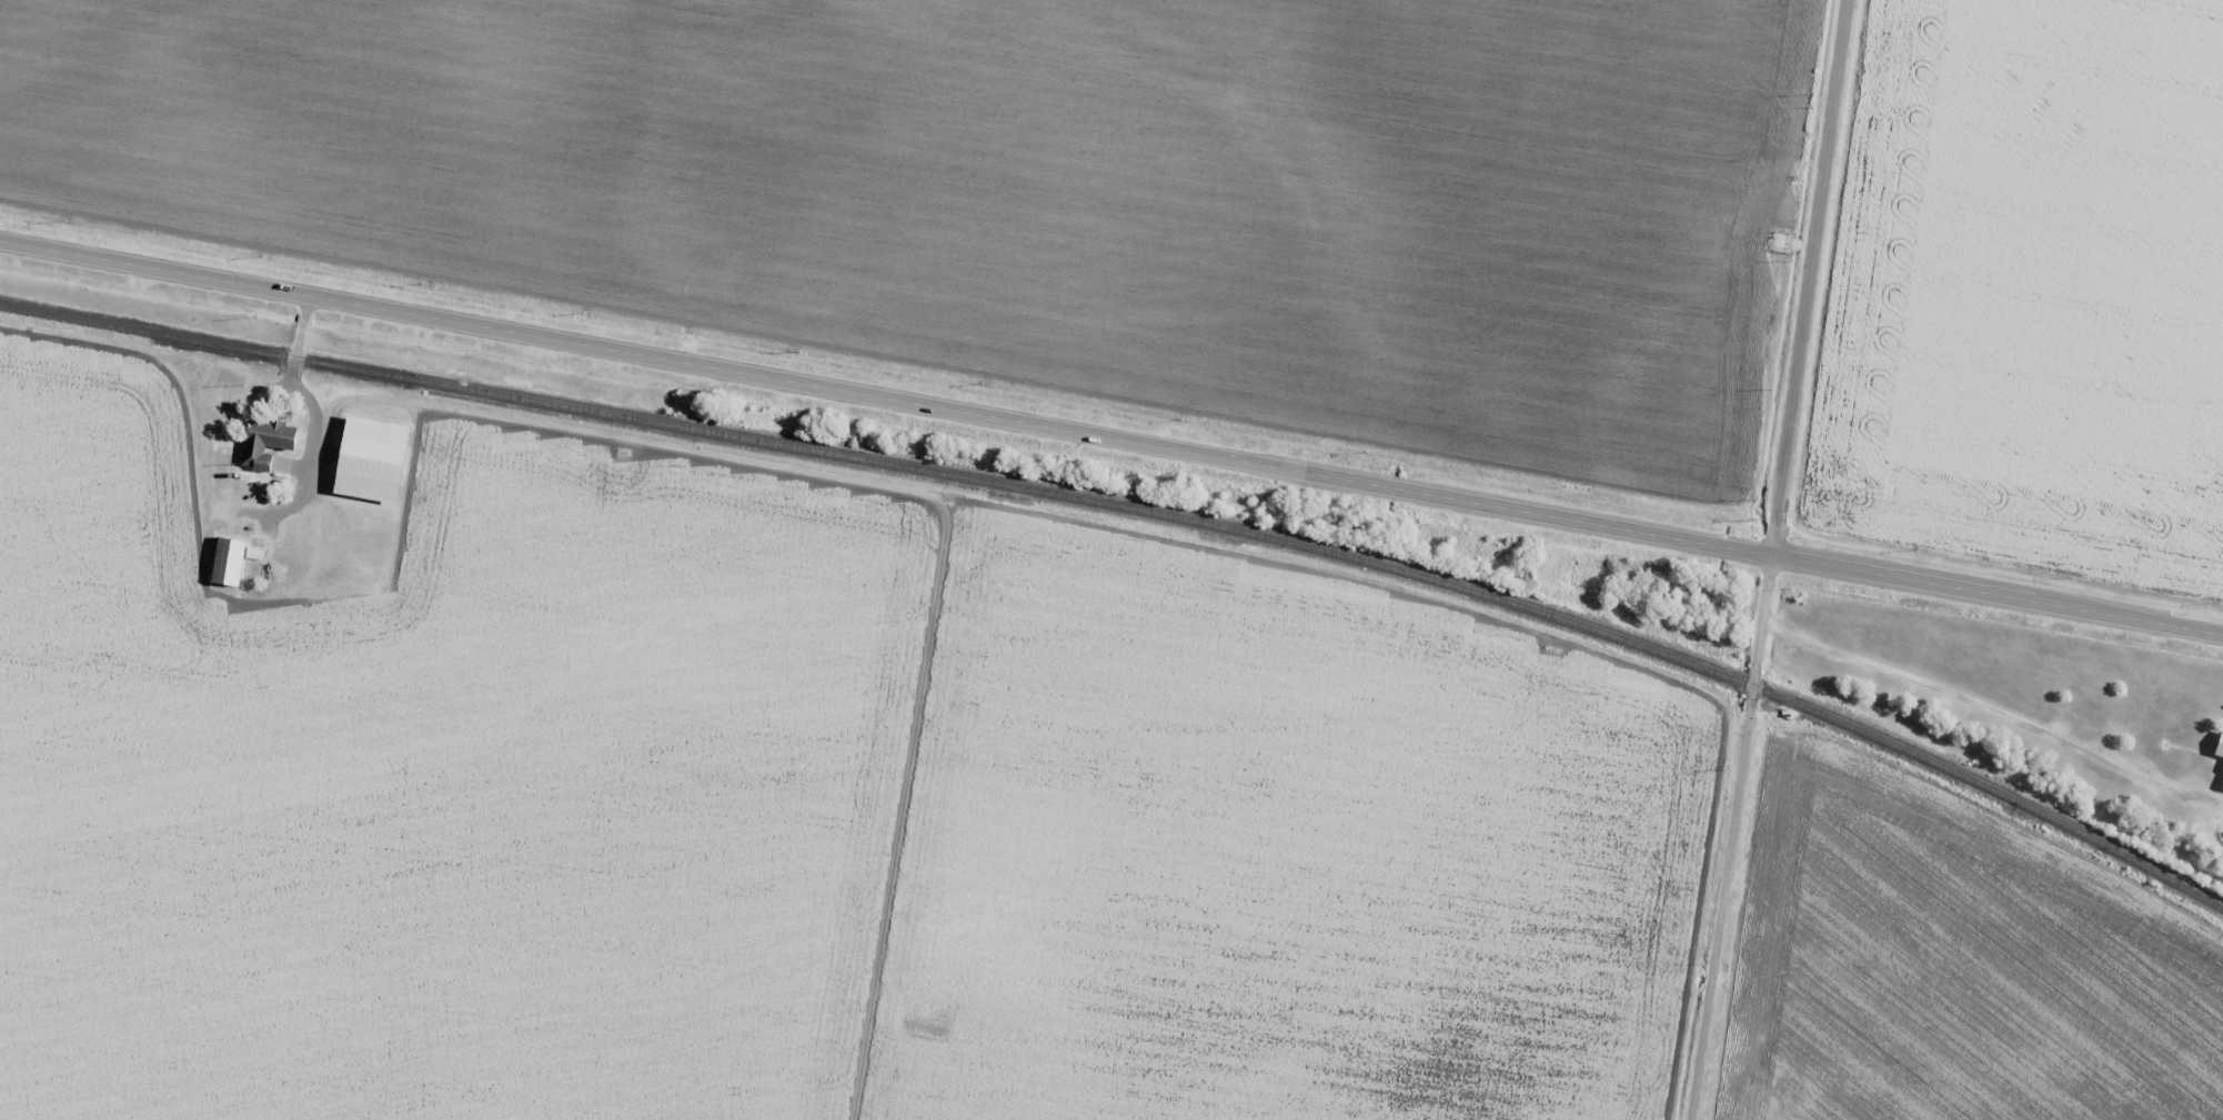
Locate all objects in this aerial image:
road: (1111, 431)
building: (264, 443)
building: (371, 451)
railway: (1139, 509)
building: (251, 553)
road: (1774, 561)
building: (225, 562)
building: (2221, 784)
crop: (1953, 971)

